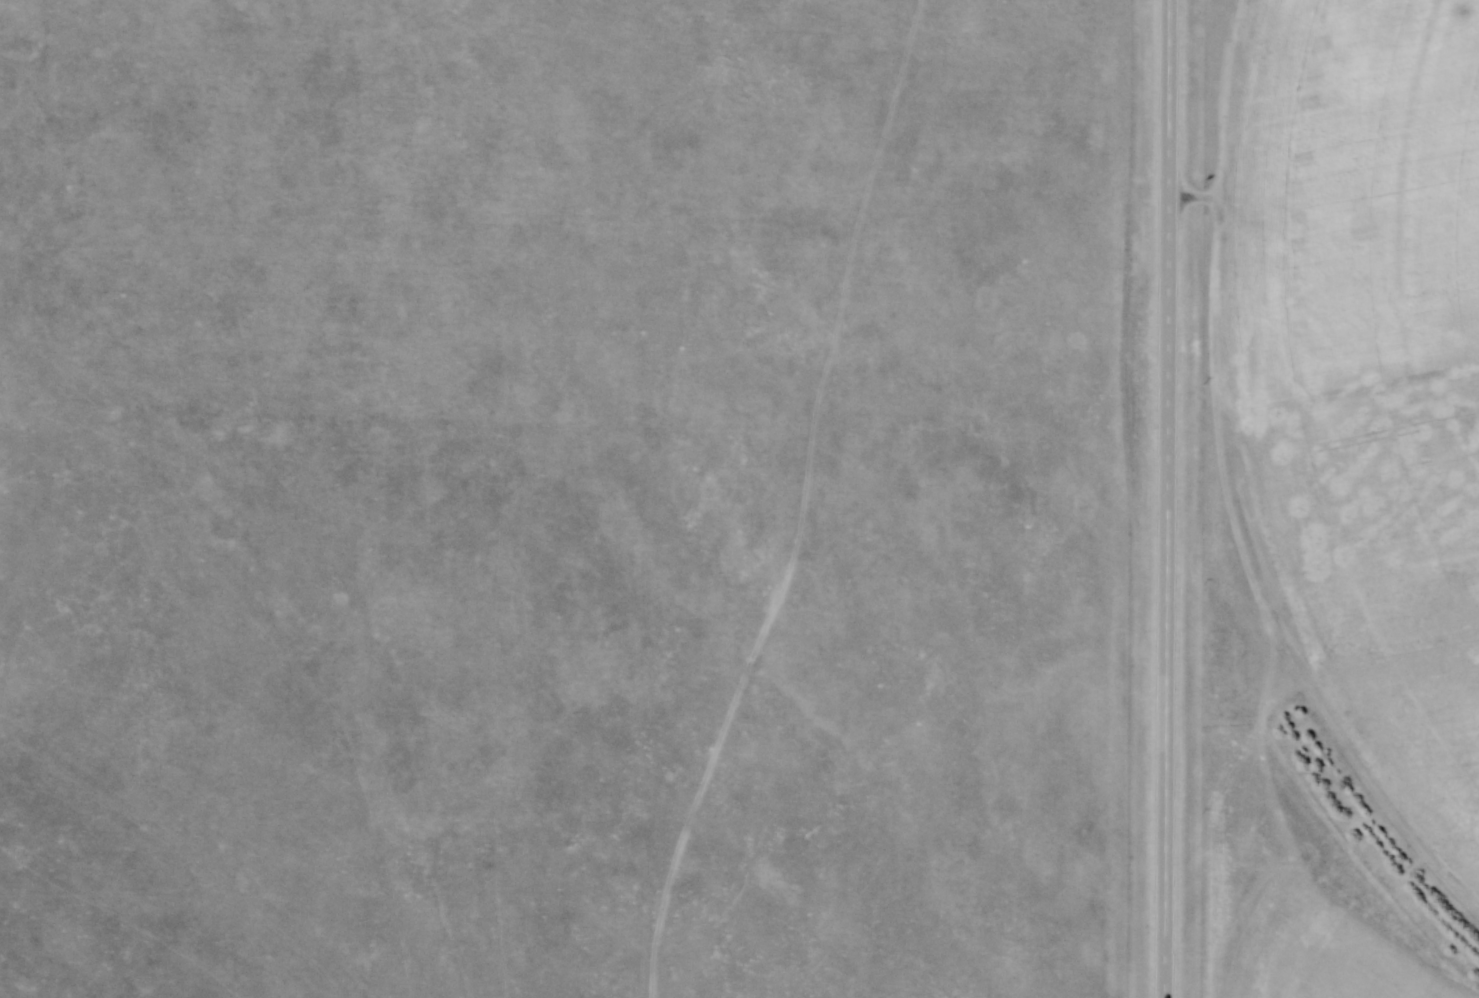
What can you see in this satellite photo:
crop: (1371, 362)
road: (1163, 499)

